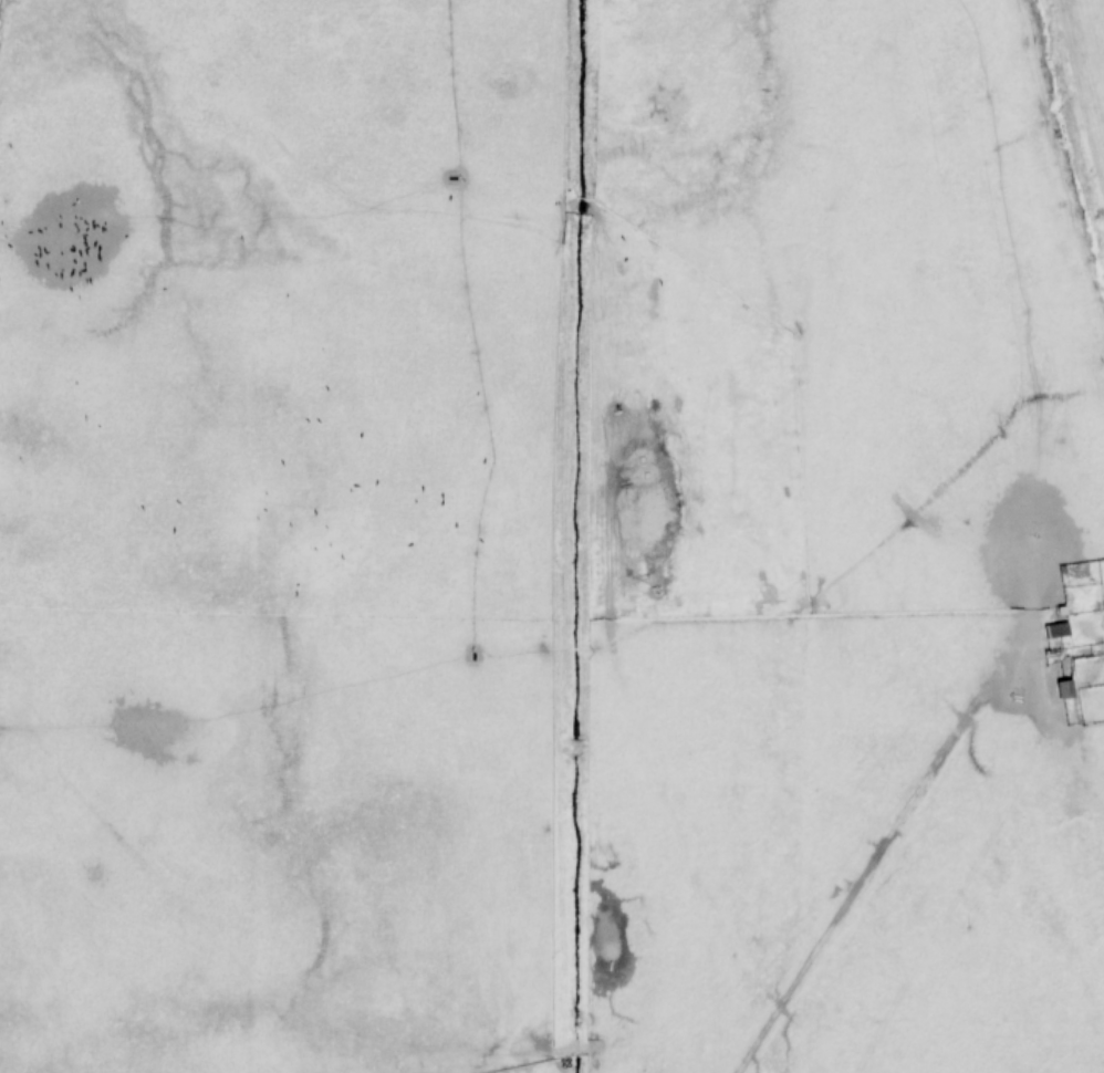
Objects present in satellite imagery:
building: (1058, 629)
building: (1065, 689)

